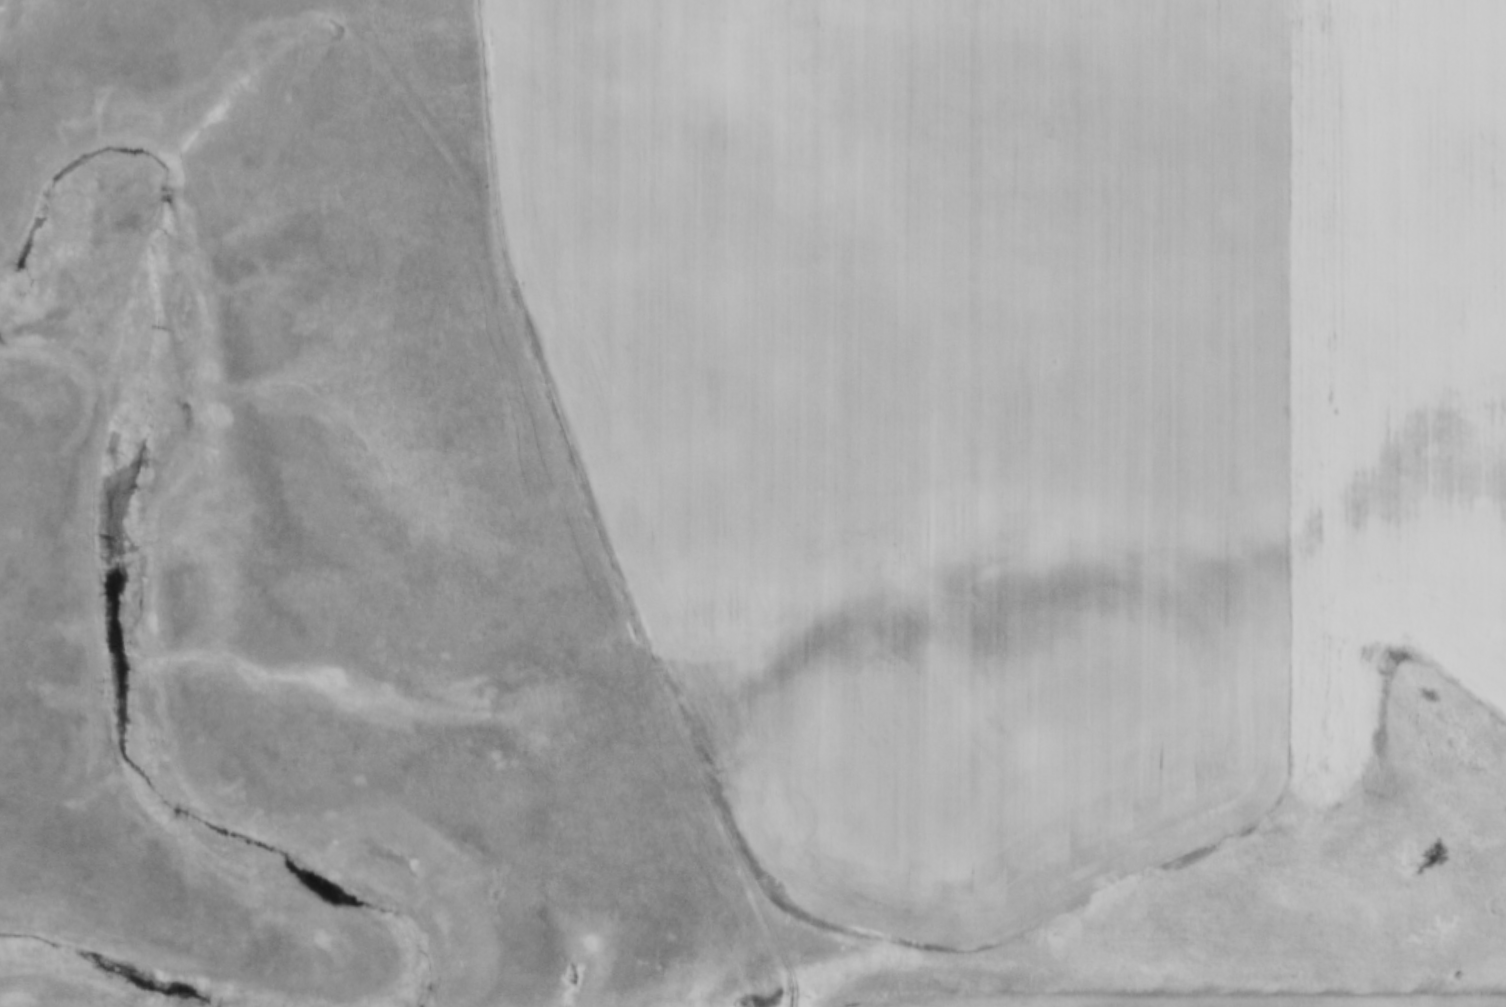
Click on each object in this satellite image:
road: (599, 515)

